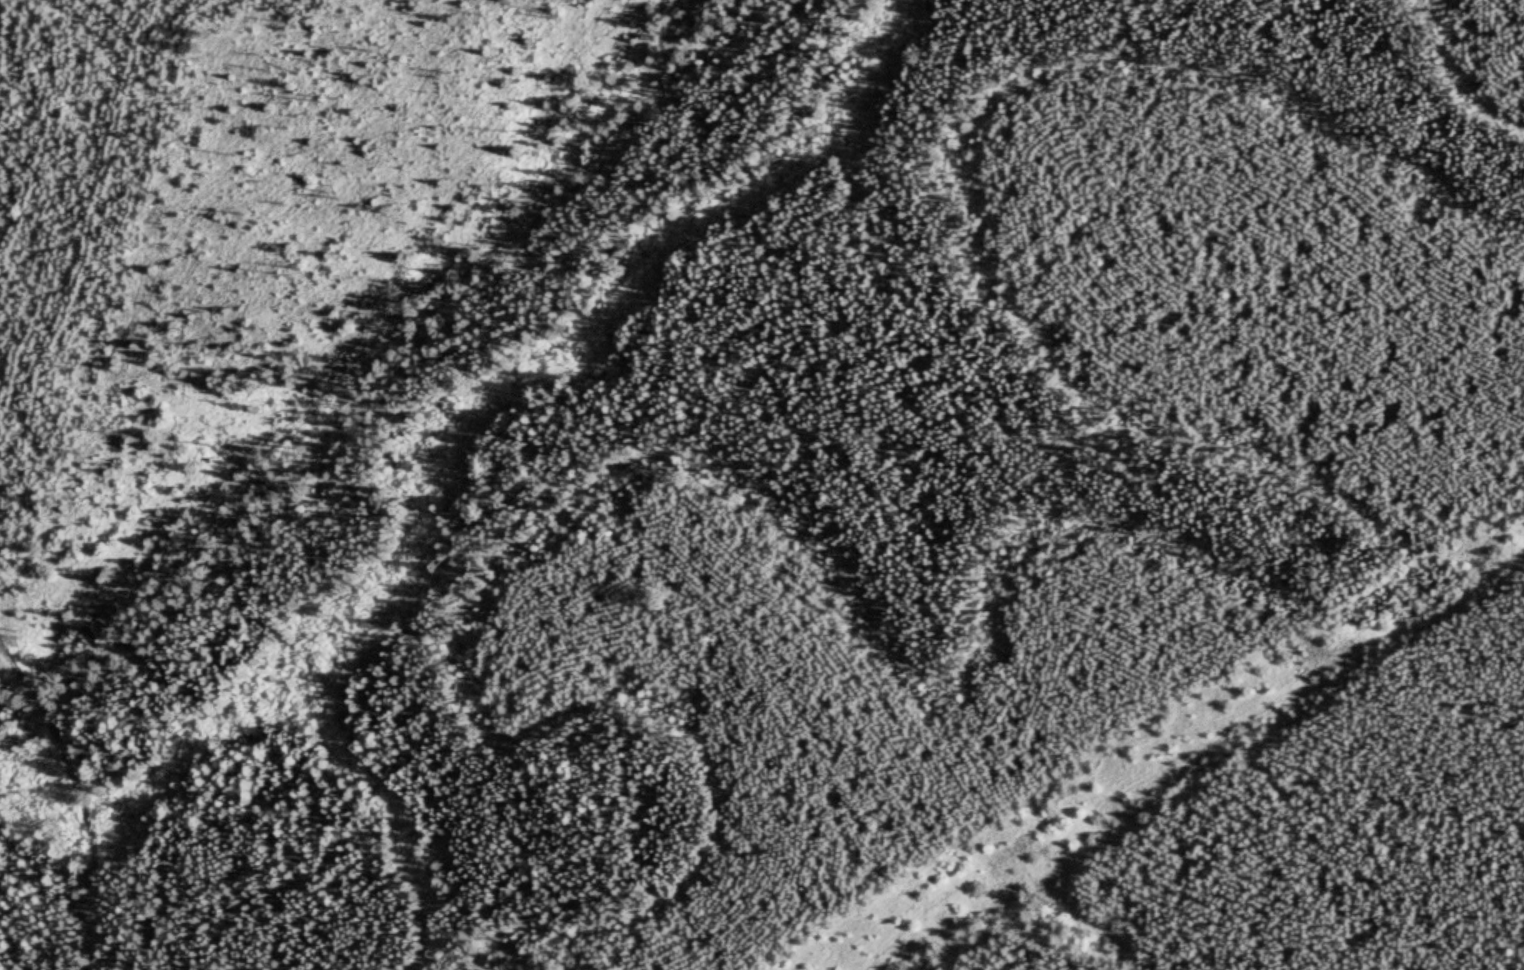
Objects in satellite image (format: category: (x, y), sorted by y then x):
road: (7, 649)
road: (94, 780)

